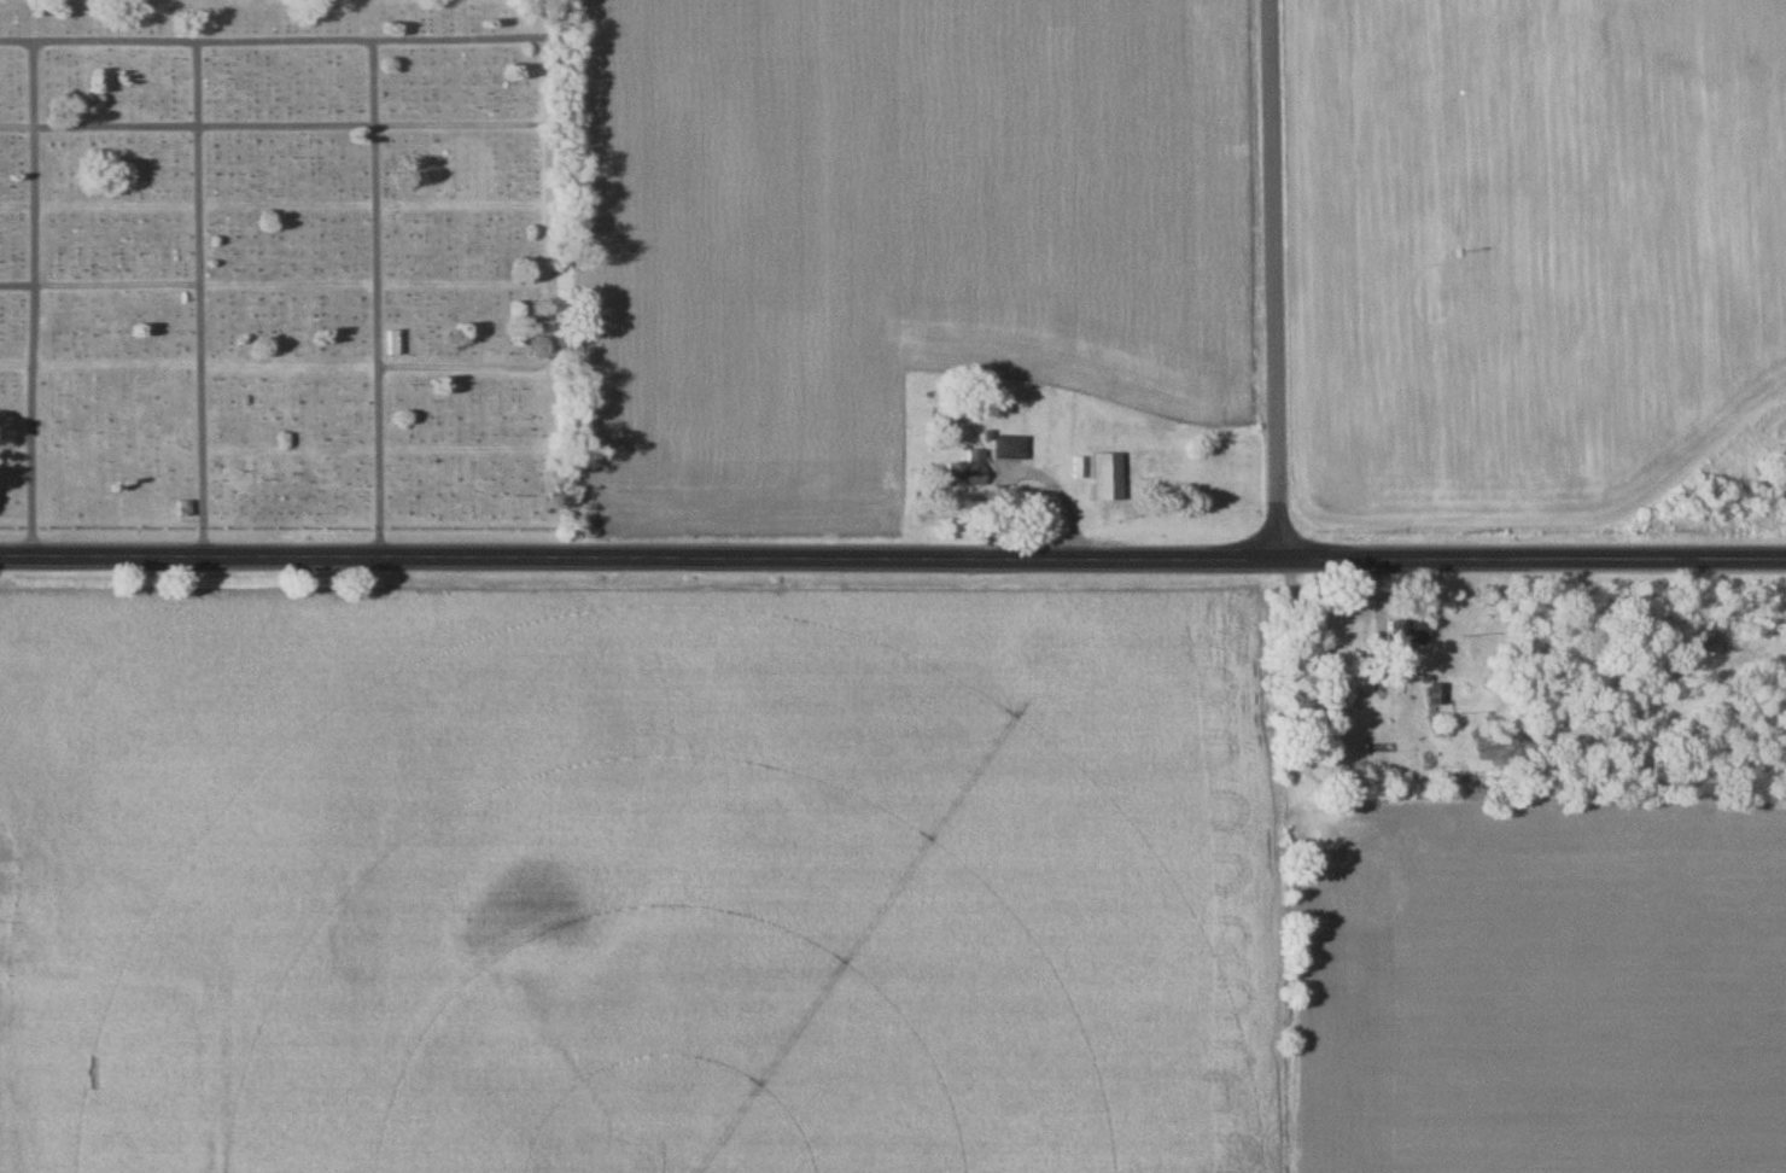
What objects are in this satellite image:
park: (282, 265)
road: (1276, 280)
building: (392, 344)
building: (1009, 448)
building: (967, 471)
building: (1105, 477)
road: (892, 559)
building: (1401, 632)

